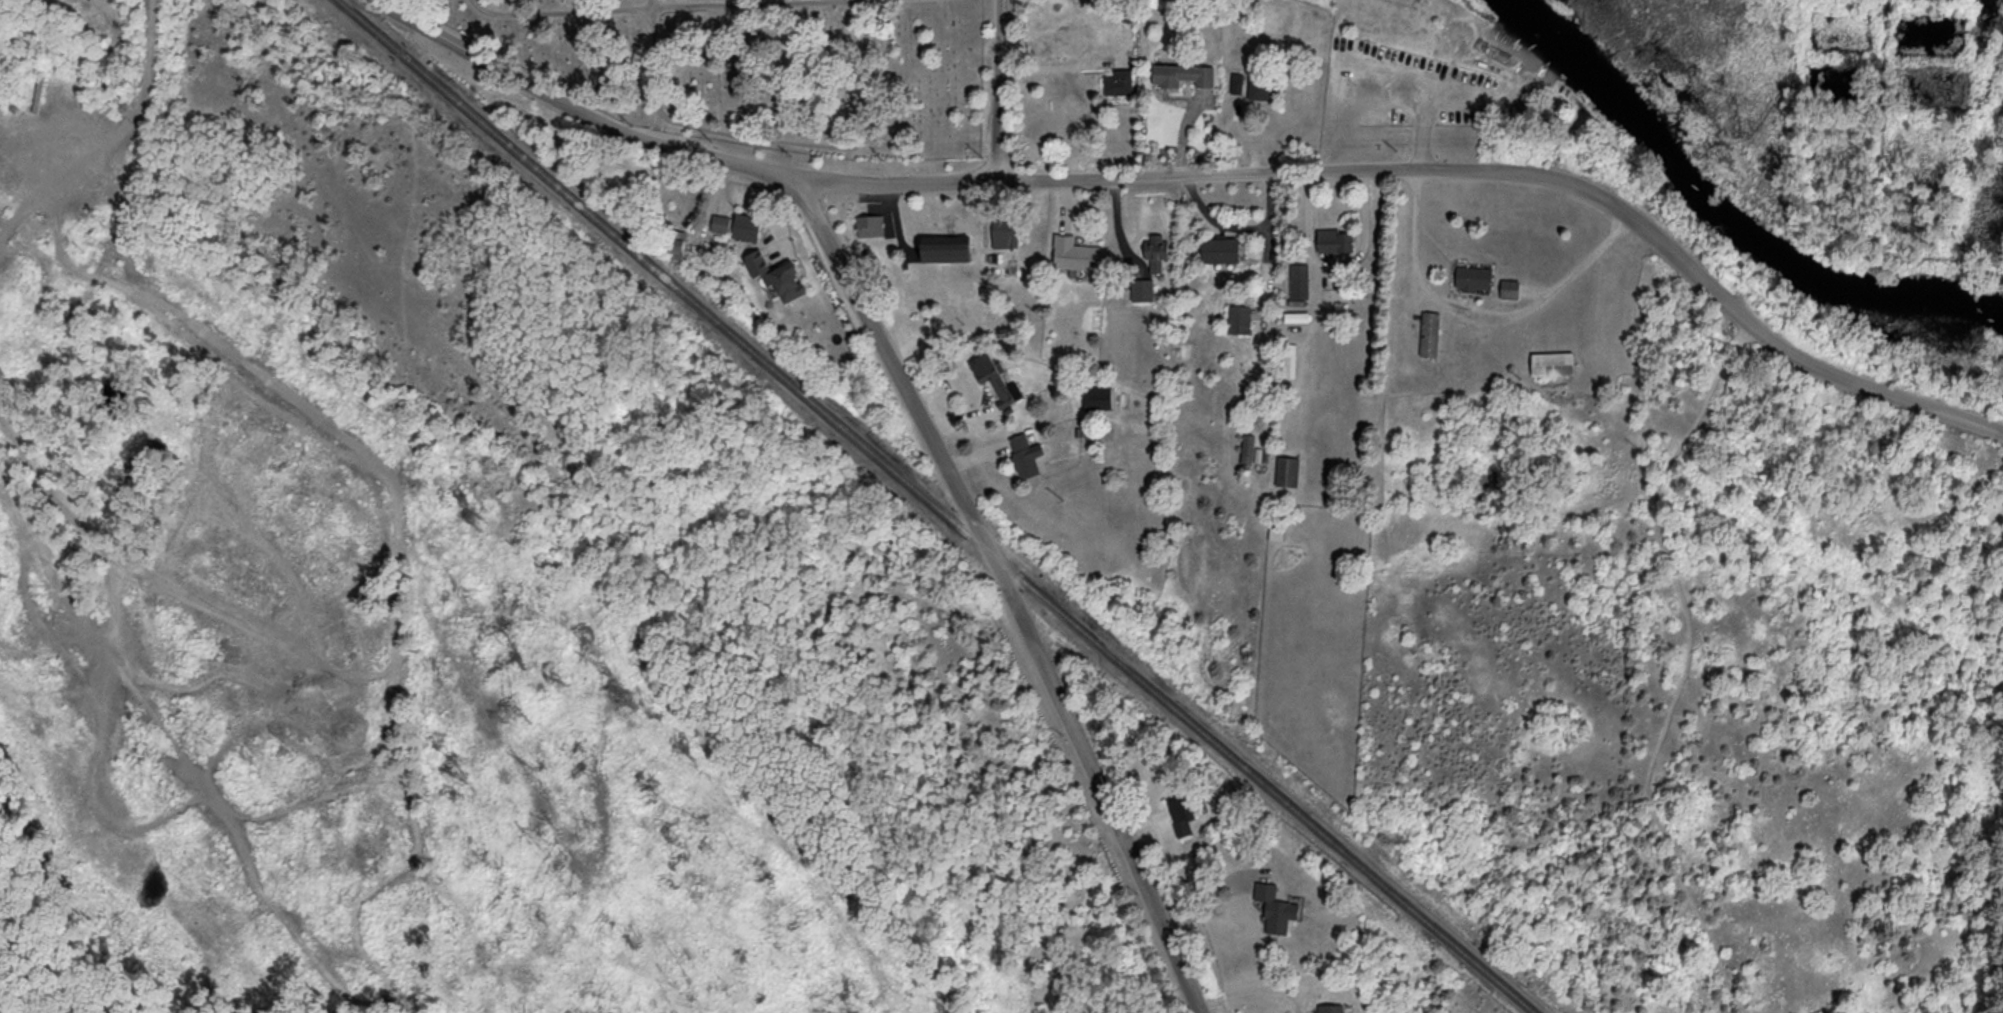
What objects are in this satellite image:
road: (655, 7)
road: (154, 42)
road: (998, 64)
park: (761, 67)
road: (657, 71)
building: (1182, 73)
building: (1118, 82)
building: (1236, 82)
road: (1385, 84)
building: (1261, 88)
parking lot: (1413, 91)
road: (581, 111)
road: (831, 145)
road: (995, 155)
road: (845, 165)
road: (1537, 172)
road: (900, 184)
road: (812, 203)
river: (1722, 213)
building: (719, 222)
building: (869, 224)
building: (746, 225)
building: (1003, 232)
building: (1334, 239)
building: (676, 243)
building: (946, 247)
building: (1220, 248)
building: (1075, 252)
building: (756, 261)
building: (1155, 264)
building: (1472, 276)
building: (785, 279)
building: (1298, 279)
building: (1508, 287)
road: (1480, 313)
building: (1238, 318)
building: (1429, 332)
parking lot: (1746, 334)
building: (1552, 362)
building: (994, 377)
building: (1097, 396)
building: (1025, 454)
building: (1286, 470)
railway: (930, 507)
road: (1019, 614)
road: (1686, 667)
building: (1181, 812)
road: (1213, 897)
road: (1253, 991)

